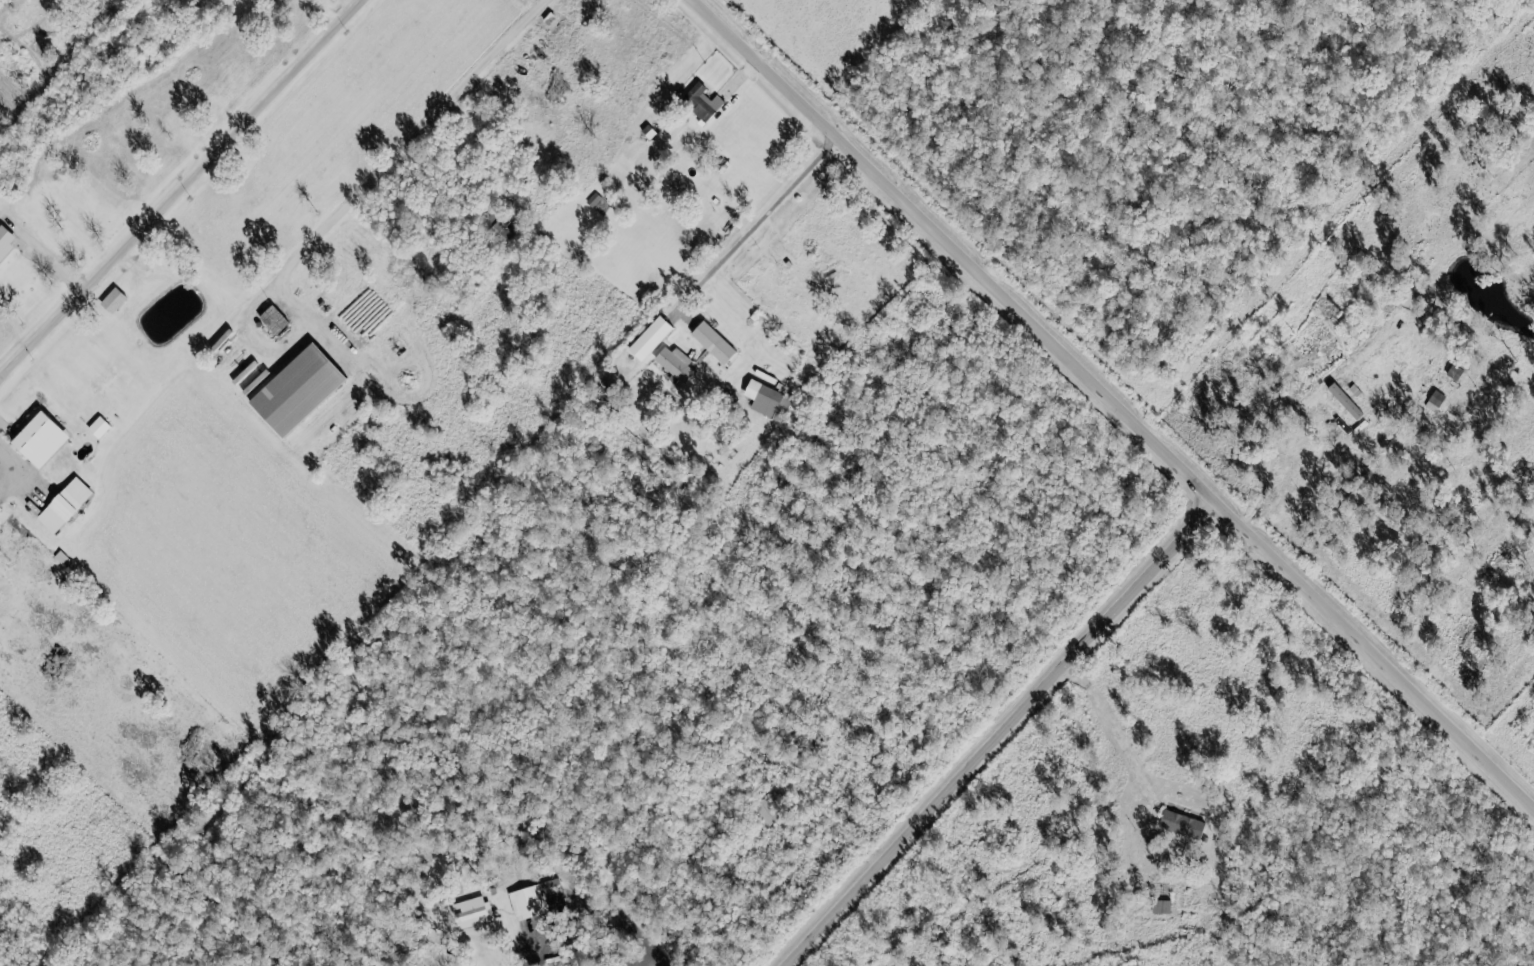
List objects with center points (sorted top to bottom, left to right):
building: (634, 29)
building: (703, 103)
road: (415, 142)
road: (184, 188)
road: (755, 227)
building: (112, 301)
building: (272, 320)
building: (649, 339)
building: (712, 343)
building: (673, 365)
building: (1454, 373)
building: (295, 391)
building: (766, 401)
building: (1435, 401)
building: (1345, 402)
road: (1114, 403)
building: (98, 428)
building: (38, 439)
building: (63, 506)
road: (1006, 735)
building: (766, 811)
building: (1181, 825)
building: (528, 900)
building: (1161, 907)
building: (471, 911)
road: (525, 964)

